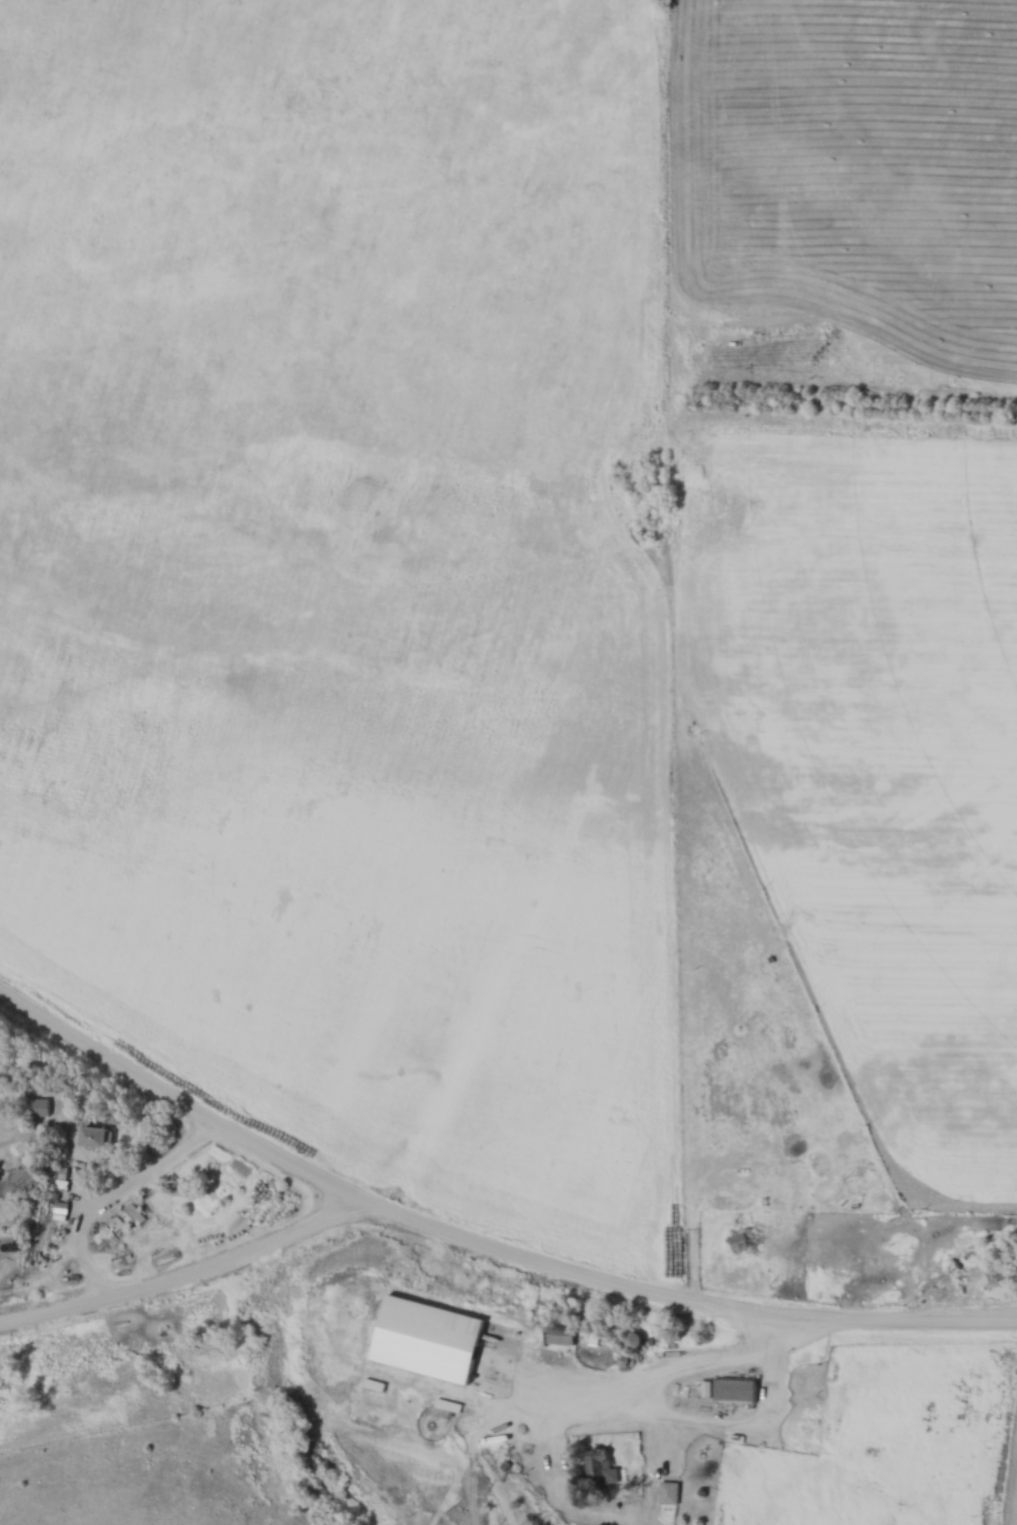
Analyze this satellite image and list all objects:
building: (46, 1108)
building: (102, 1137)
road: (120, 1196)
building: (133, 1217)
building: (116, 1227)
building: (6, 1238)
building: (745, 1240)
road: (481, 1247)
building: (1005, 1277)
road: (184, 1279)
building: (470, 1310)
building: (565, 1335)
building: (853, 1353)
road: (680, 1361)
building: (825, 1381)
building: (740, 1391)
building: (474, 1405)
building: (601, 1471)
building: (670, 1494)

